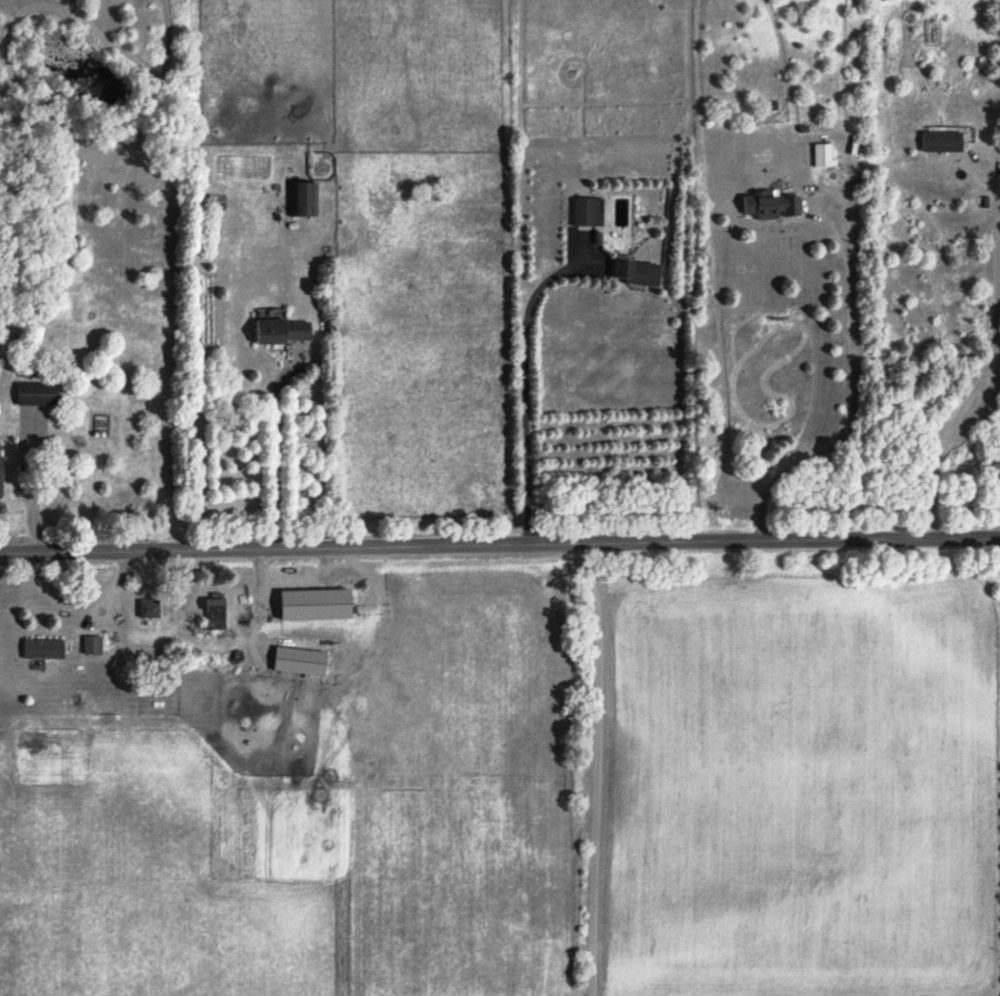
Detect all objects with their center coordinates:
building: (942, 143)
building: (821, 157)
building: (305, 201)
building: (769, 208)
building: (588, 213)
building: (637, 274)
building: (283, 333)
road: (989, 359)
building: (38, 396)
road: (854, 397)
road: (525, 405)
road: (275, 454)
building: (2, 475)
road: (29, 485)
road: (499, 545)
building: (348, 603)
building: (150, 611)
building: (216, 614)
building: (44, 651)
road: (597, 768)

